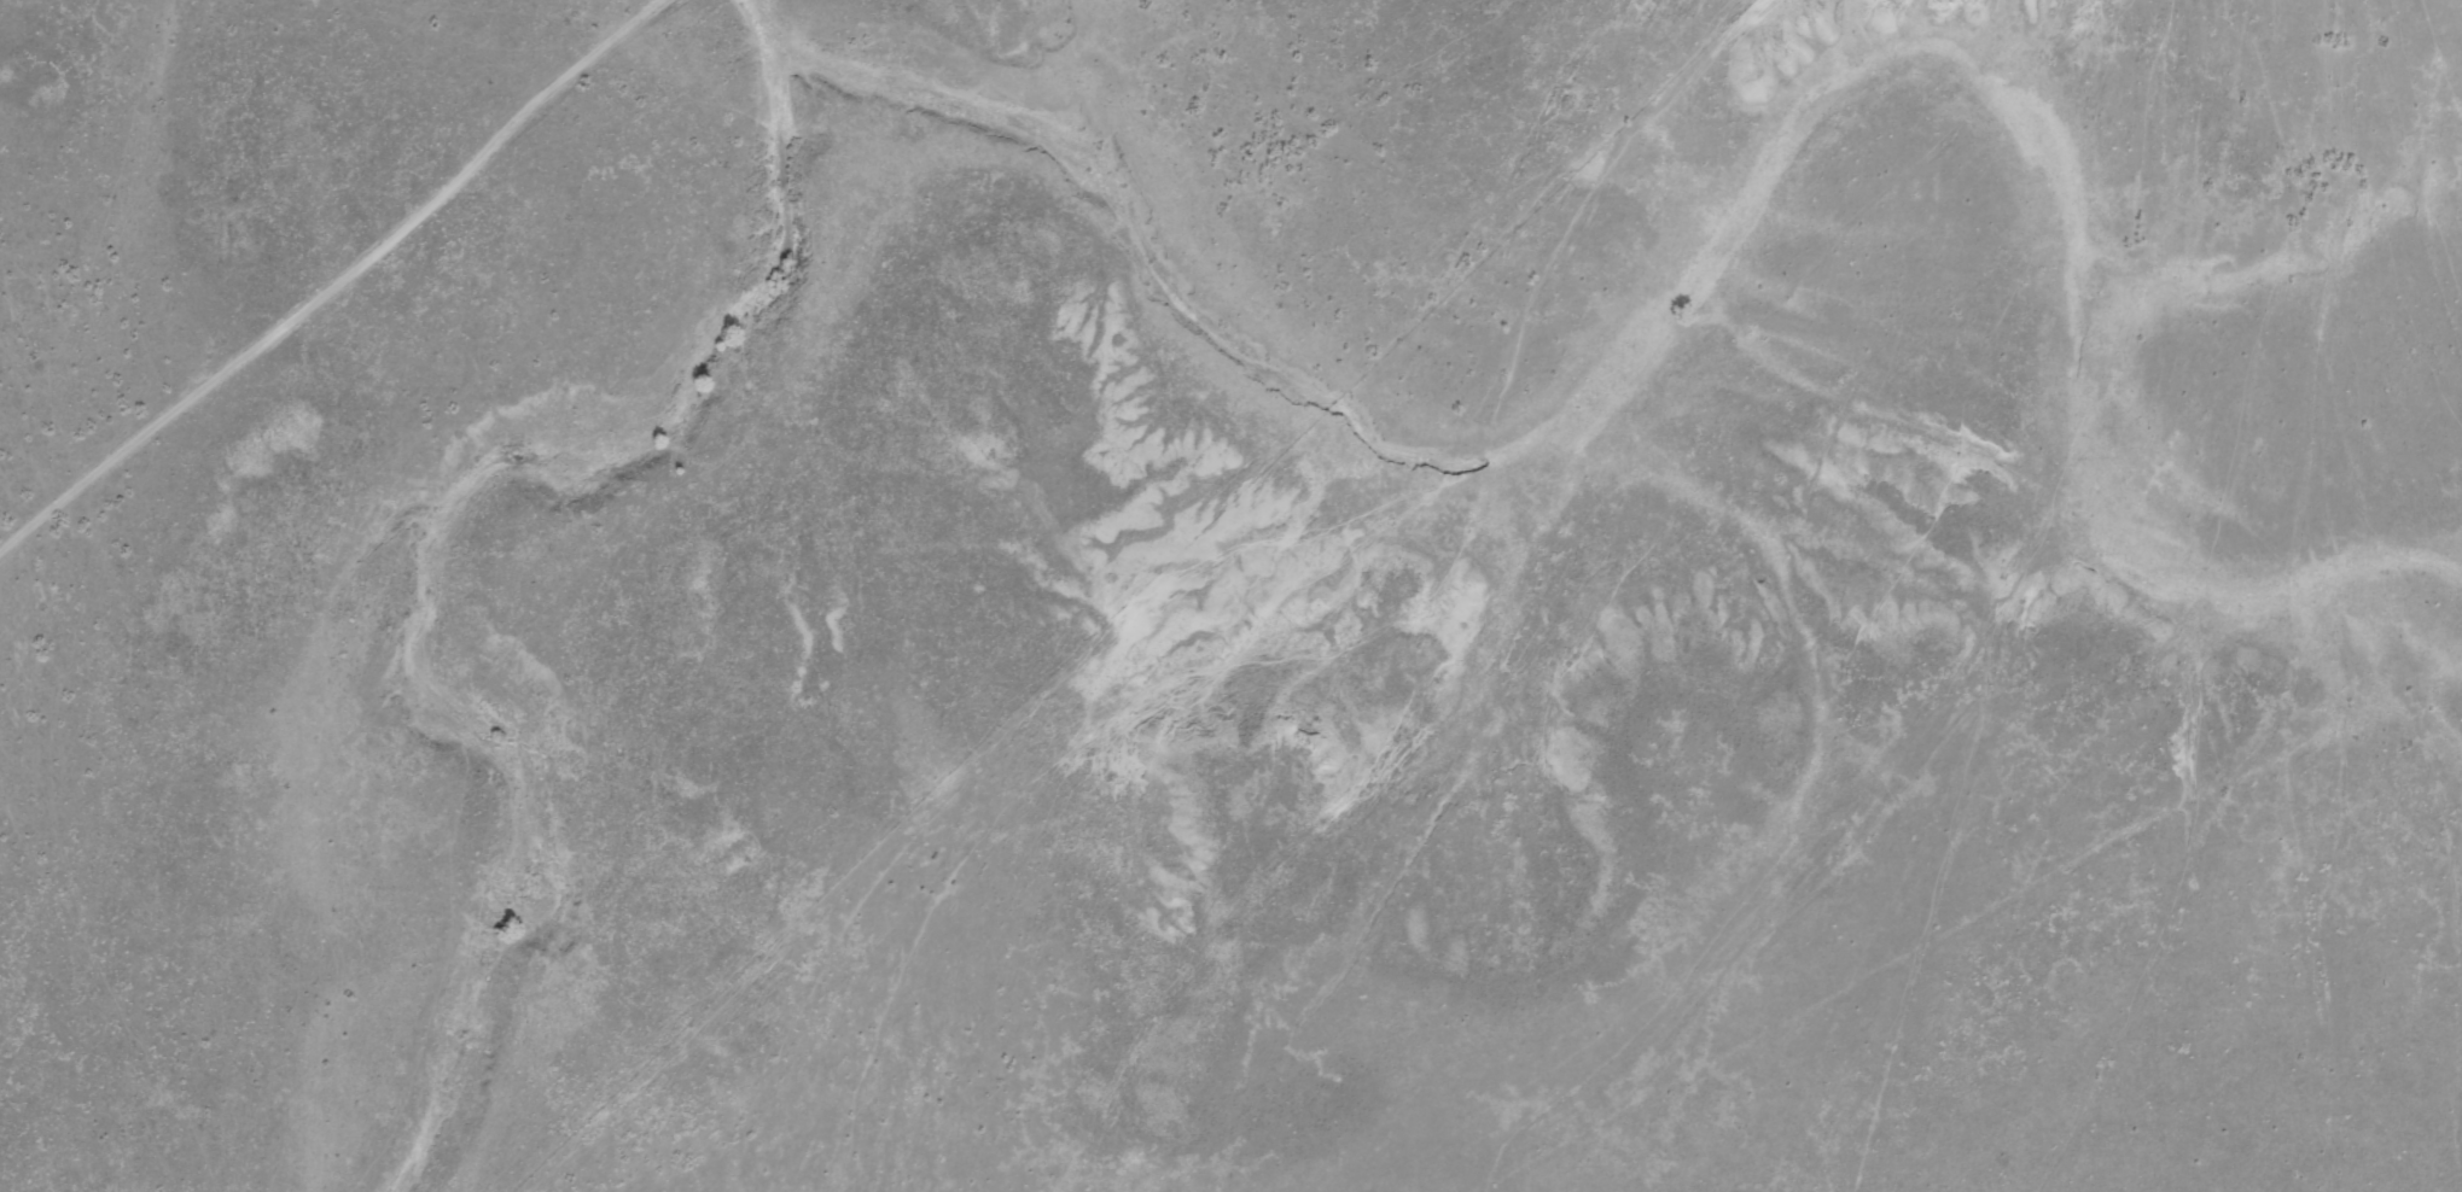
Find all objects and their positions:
road: (2303, 607)

